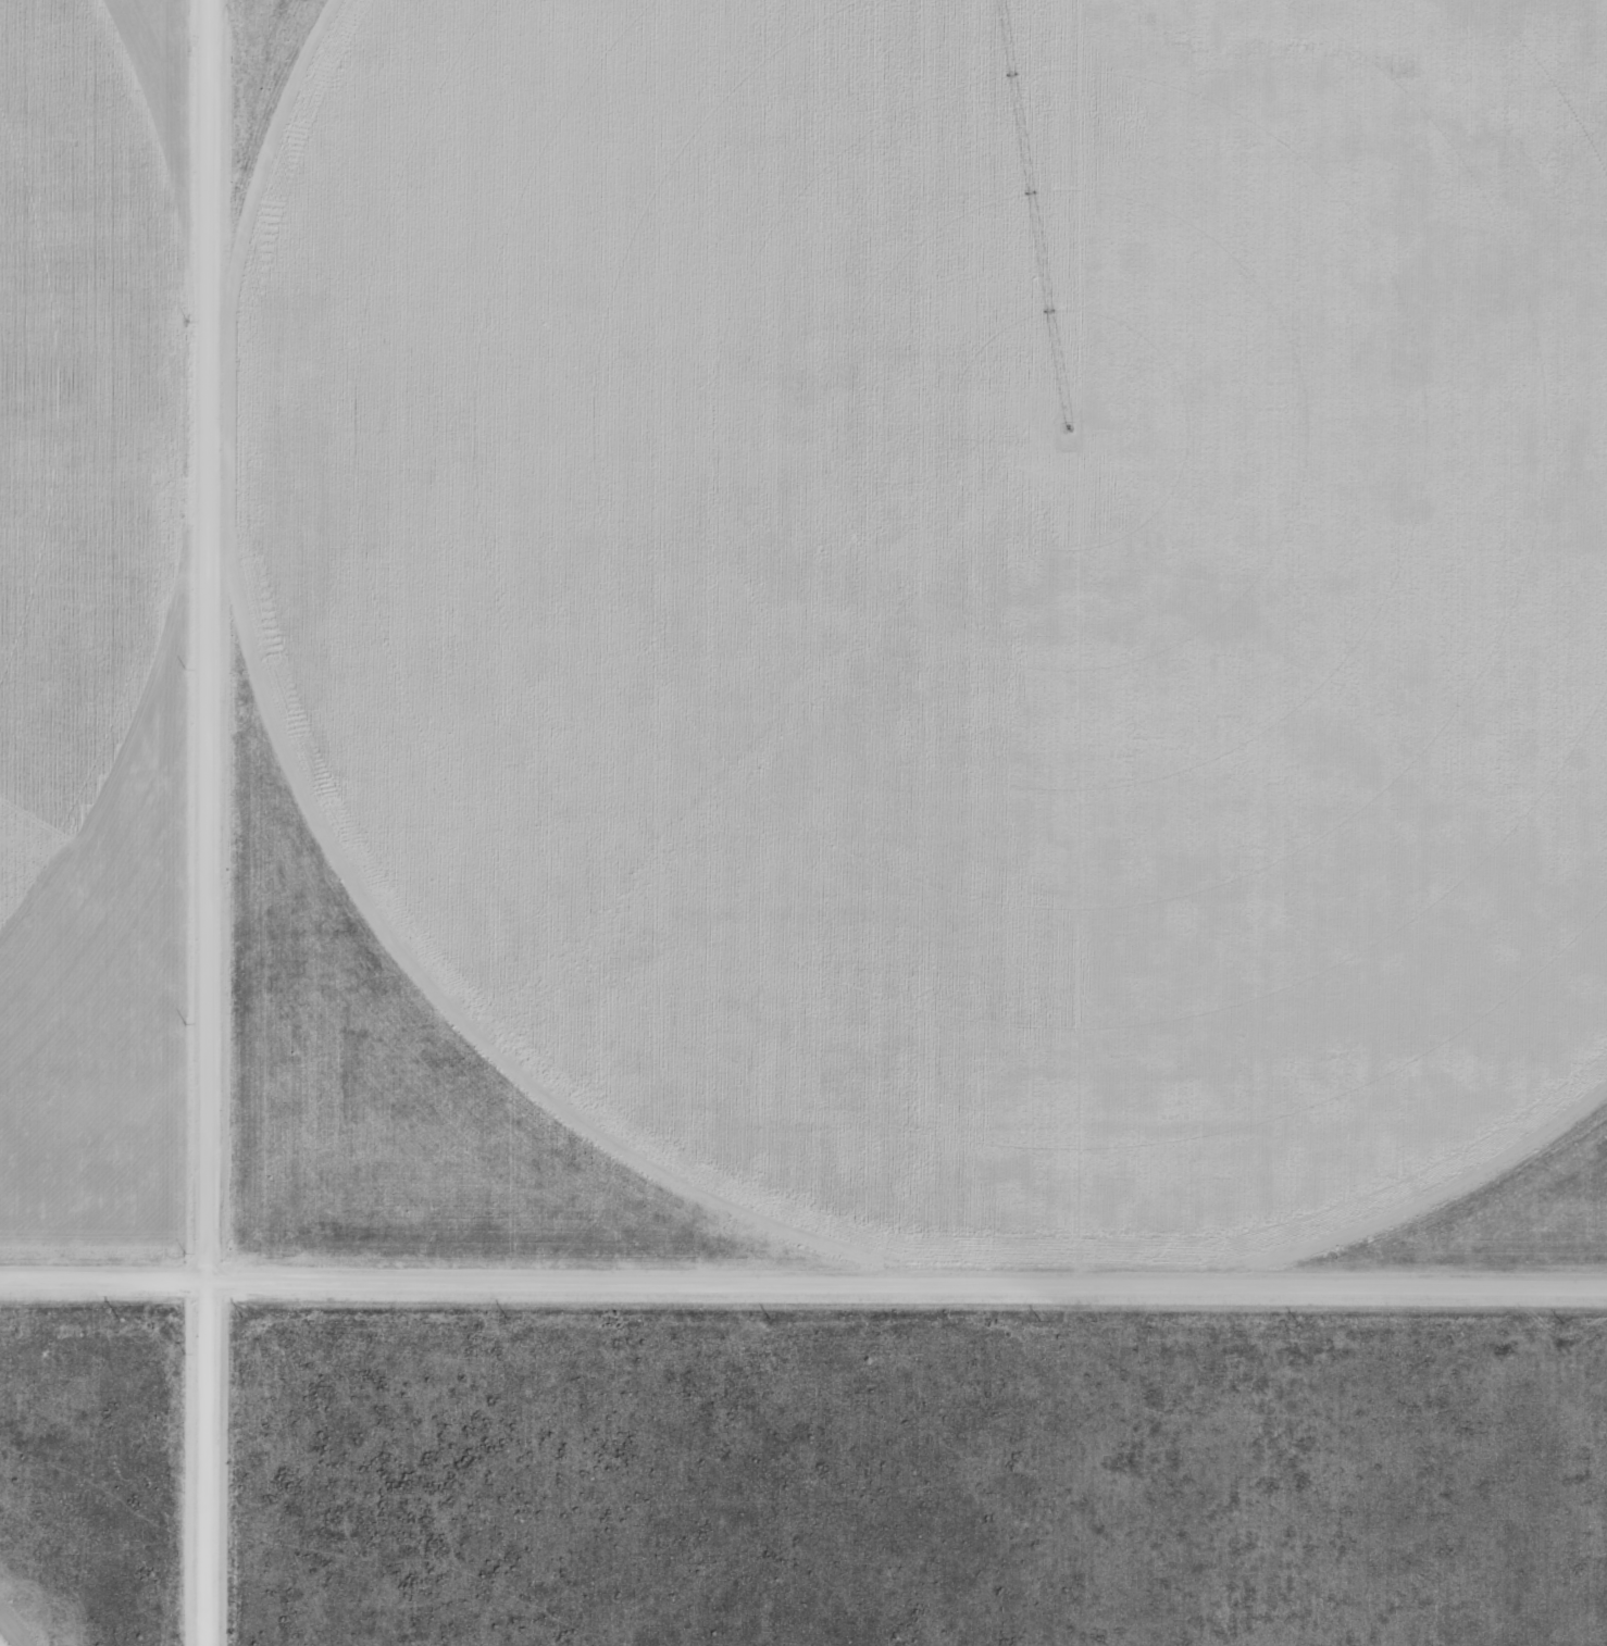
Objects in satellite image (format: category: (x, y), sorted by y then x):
road: (231, 823)
road: (804, 1258)

